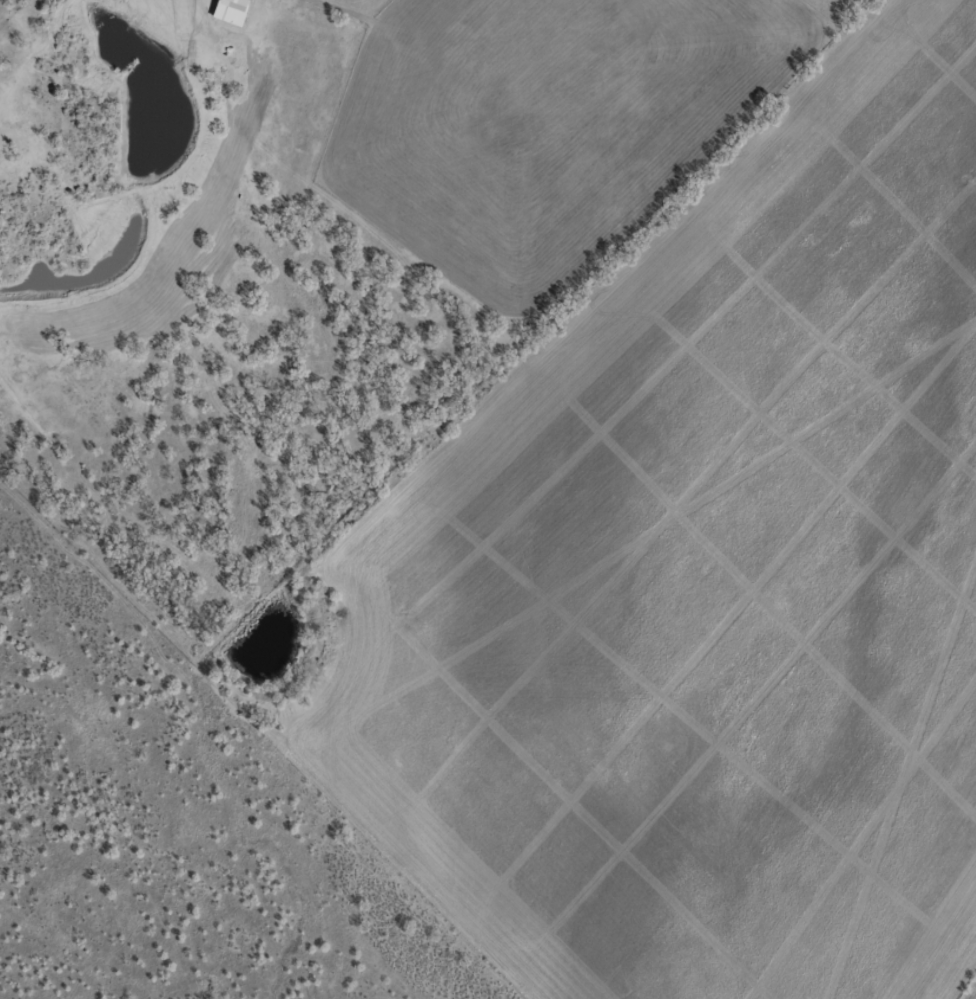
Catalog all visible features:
building: (232, 4)
road: (940, 248)

